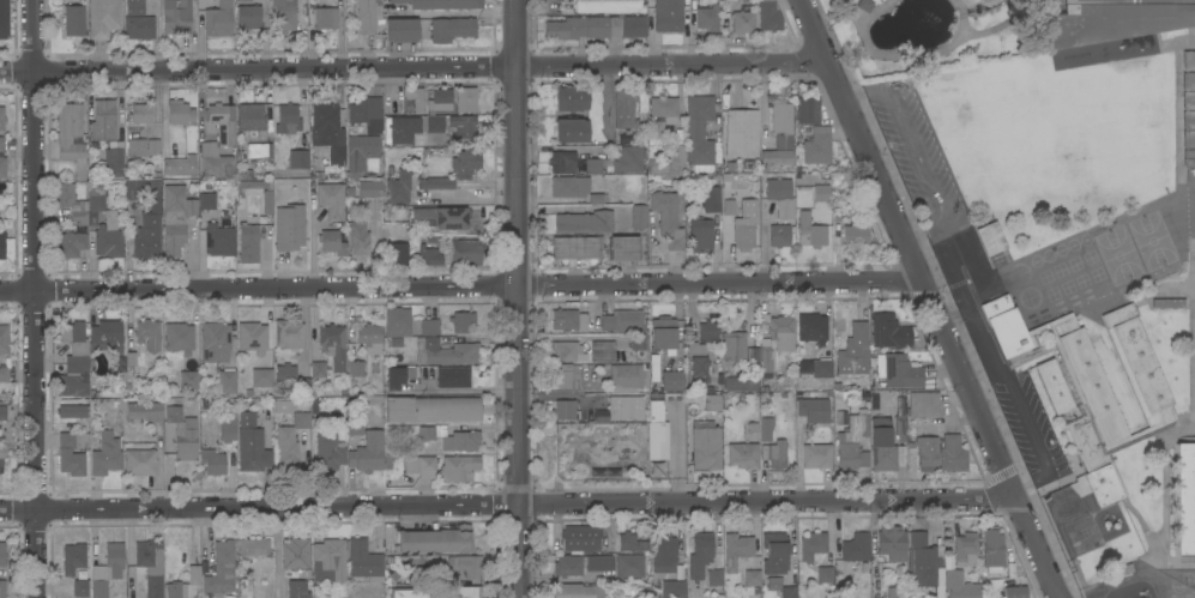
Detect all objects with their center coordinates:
building: (242, 0)
building: (729, 0)
building: (441, 4)
building: (864, 5)
building: (606, 6)
building: (134, 7)
building: (284, 14)
building: (707, 14)
building: (367, 16)
building: (668, 16)
building: (768, 16)
building: (176, 17)
building: (248, 17)
building: (103, 18)
building: (325, 18)
building: (4, 19)
building: (218, 19)
building: (73, 20)
building: (1108, 20)
building: (743, 22)
building: (139, 28)
building: (595, 28)
building: (451, 29)
building: (400, 30)
park: (924, 34)
building: (1188, 60)
road: (412, 65)
building: (1188, 81)
building: (941, 84)
building: (465, 99)
building: (1188, 101)
building: (405, 102)
building: (664, 107)
building: (626, 109)
building: (808, 110)
building: (180, 113)
building: (140, 114)
building: (367, 114)
building: (593, 116)
building: (249, 117)
building: (1, 119)
building: (286, 119)
building: (1188, 120)
building: (103, 121)
building: (429, 121)
building: (781, 123)
building: (698, 129)
building: (656, 131)
building: (327, 132)
building: (741, 133)
building: (71, 137)
building: (1188, 139)
building: (218, 141)
building: (1, 144)
building: (152, 146)
building: (817, 146)
building: (135, 147)
building: (259, 151)
building: (361, 152)
road: (919, 155)
building: (774, 158)
building: (1189, 158)
building: (113, 159)
building: (298, 159)
building: (626, 161)
building: (562, 162)
building: (465, 163)
building: (669, 164)
building: (180, 165)
building: (592, 167)
building: (2, 168)
building: (434, 183)
building: (815, 185)
building: (399, 187)
building: (569, 187)
building: (369, 188)
building: (129, 191)
building: (267, 194)
building: (780, 197)
building: (597, 198)
building: (96, 199)
building: (328, 199)
building: (711, 199)
building: (206, 201)
building: (71, 203)
building: (729, 207)
building: (176, 217)
building: (440, 217)
building: (638, 217)
building: (668, 218)
building: (584, 222)
building: (289, 228)
building: (810, 229)
building: (855, 232)
building: (743, 235)
building: (700, 236)
building: (778, 236)
building: (108, 237)
building: (147, 237)
building: (990, 238)
building: (218, 240)
building: (248, 242)
building: (331, 242)
building: (1, 243)
building: (358, 243)
building: (71, 244)
building: (577, 247)
building: (623, 248)
building: (466, 252)
building: (397, 253)
building: (429, 255)
building: (954, 260)
road: (461, 284)
road: (35, 298)
road: (517, 298)
road: (931, 298)
building: (1167, 303)
building: (568, 319)
building: (461, 321)
building: (397, 322)
building: (615, 322)
building: (429, 326)
building: (813, 328)
building: (707, 330)
building: (889, 332)
building: (663, 333)
building: (147, 334)
building: (288, 334)
building: (107, 337)
building: (252, 337)
building: (368, 337)
building: (179, 338)
building: (4, 339)
building: (774, 339)
building: (215, 342)
building: (636, 342)
building: (333, 345)
building: (734, 346)
building: (445, 351)
building: (567, 351)
building: (602, 351)
building: (753, 354)
building: (853, 356)
building: (696, 360)
building: (74, 361)
building: (135, 363)
building: (815, 368)
building: (316, 369)
building: (355, 370)
building: (900, 373)
building: (4, 375)
building: (566, 375)
building: (261, 377)
building: (394, 377)
building: (453, 377)
building: (628, 377)
building: (291, 379)
building: (188, 380)
building: (654, 380)
building: (227, 381)
building: (672, 381)
building: (741, 383)
building: (1093, 385)
building: (1052, 386)
road: (1012, 391)
building: (711, 403)
building: (923, 404)
building: (626, 407)
building: (430, 410)
building: (813, 410)
building: (71, 411)
building: (144, 411)
building: (569, 411)
building: (2, 412)
building: (354, 427)
building: (899, 428)
building: (766, 429)
building: (227, 430)
building: (657, 431)
building: (182, 434)
building: (451, 437)
building: (289, 442)
building: (251, 443)
building: (852, 443)
building: (924, 443)
building: (705, 446)
building: (885, 446)
building: (1, 453)
building: (72, 453)
building: (369, 453)
building: (105, 454)
building: (743, 454)
building: (774, 454)
building: (952, 454)
building: (328, 455)
building: (816, 455)
building: (212, 461)
building: (139, 463)
building: (421, 466)
building: (459, 467)
building: (1184, 499)
road: (507, 505)
building: (1067, 509)
building: (580, 538)
building: (435, 540)
building: (630, 543)
building: (891, 544)
building: (813, 545)
building: (253, 546)
building: (855, 548)
building: (965, 549)
building: (992, 549)
building: (736, 550)
building: (2, 554)
building: (295, 554)
building: (774, 554)
building: (664, 555)
building: (700, 555)
building: (73, 558)
building: (328, 561)
building: (364, 561)
building: (922, 561)
building: (580, 564)
building: (150, 566)
building: (467, 566)
building: (629, 566)
building: (221, 568)
building: (107, 569)
building: (1116, 572)
building: (823, 574)
building: (393, 576)
building: (714, 578)
building: (752, 578)
building: (185, 585)
building: (959, 586)
building: (245, 587)
building: (780, 587)
building: (2, 588)
building: (80, 588)
building: (672, 588)
building: (297, 590)
building: (577, 591)
building: (410, 592)
building: (469, 592)
building: (895, 592)
building: (1013, 592)

